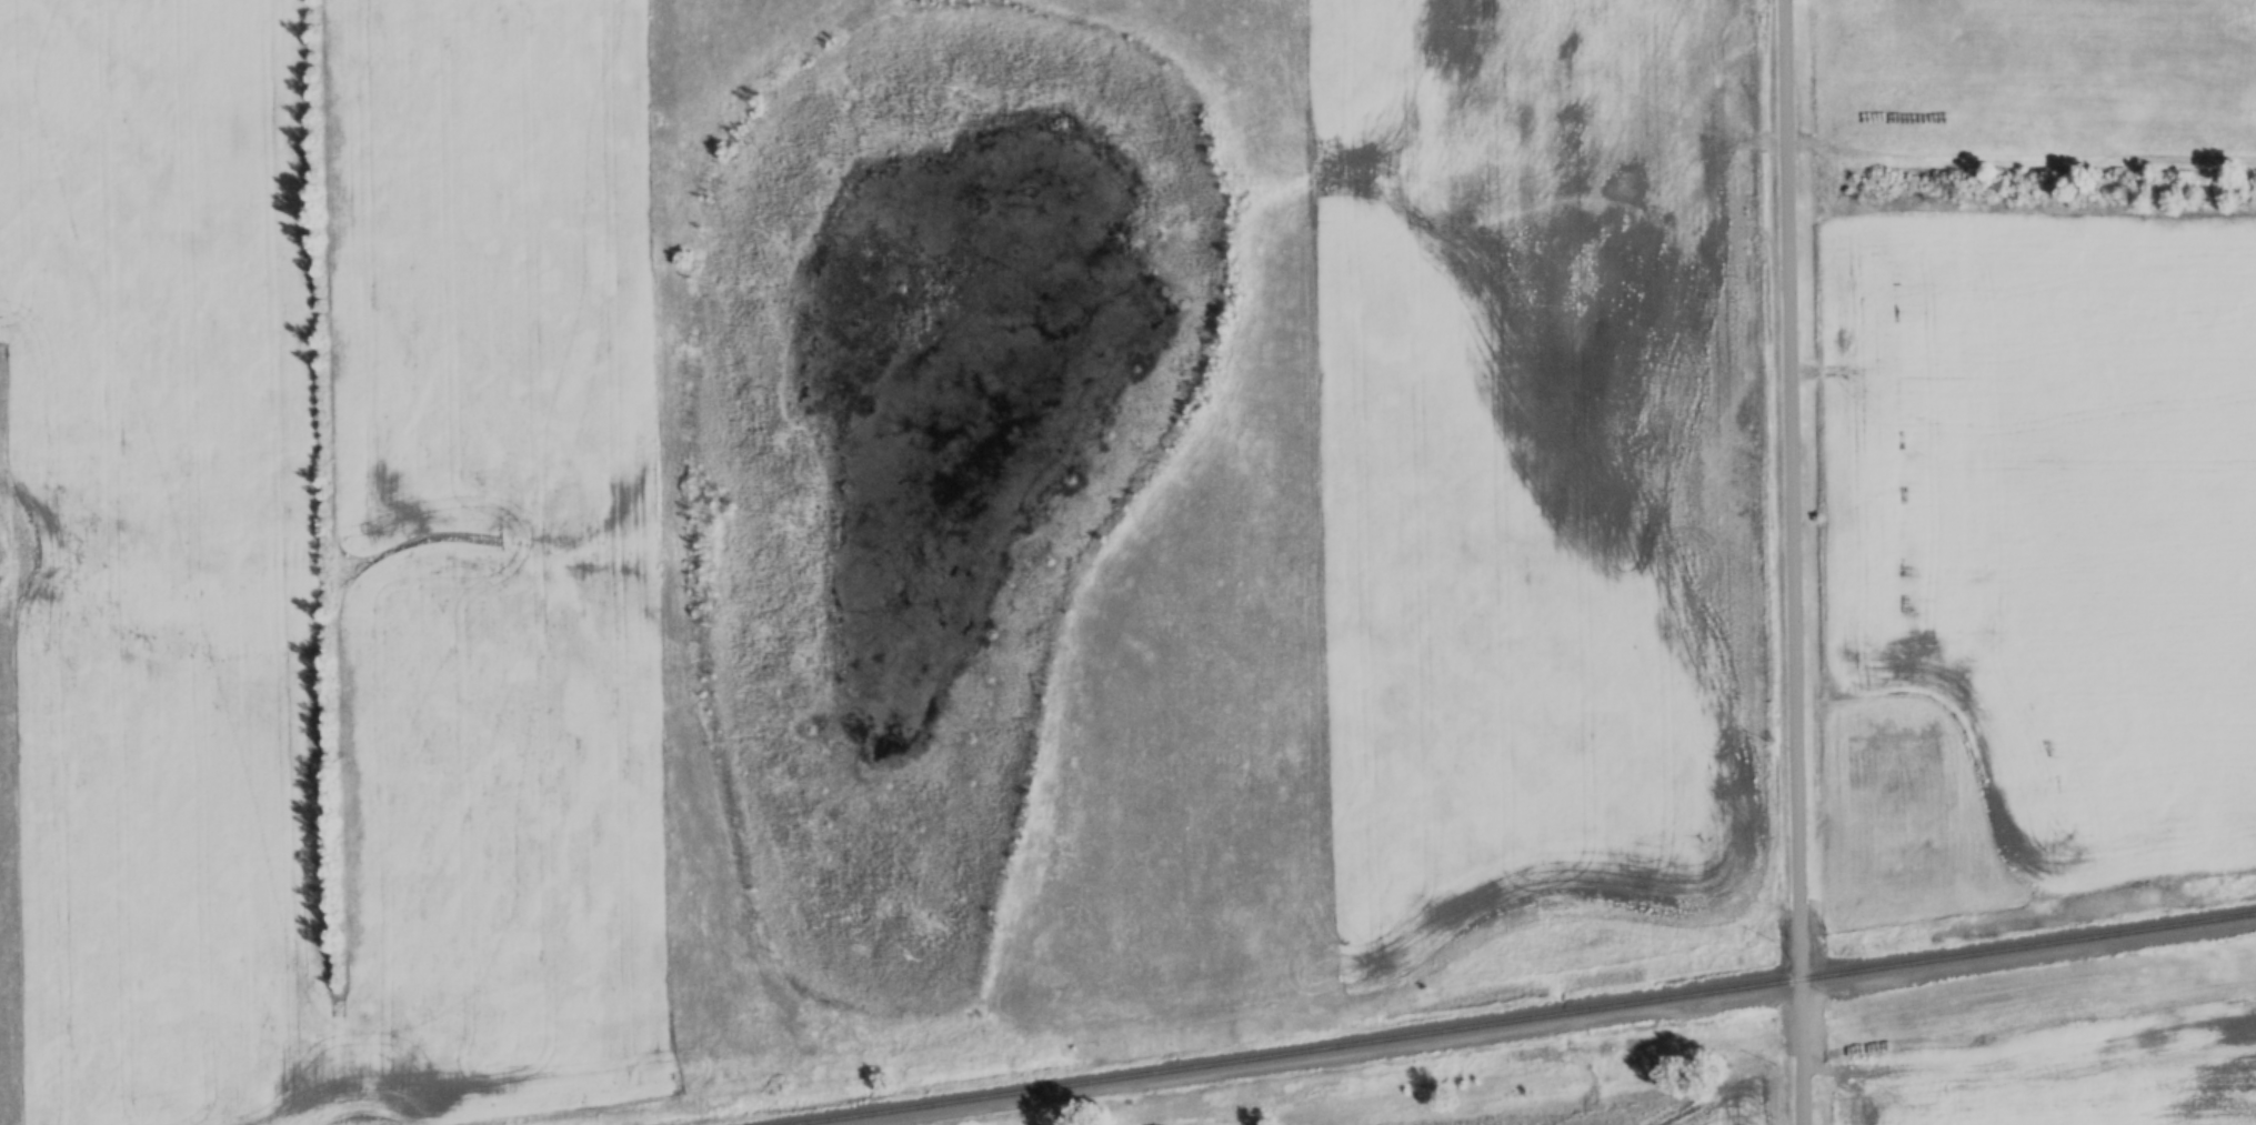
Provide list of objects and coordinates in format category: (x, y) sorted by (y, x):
road: (1792, 562)
railway: (1522, 1018)

